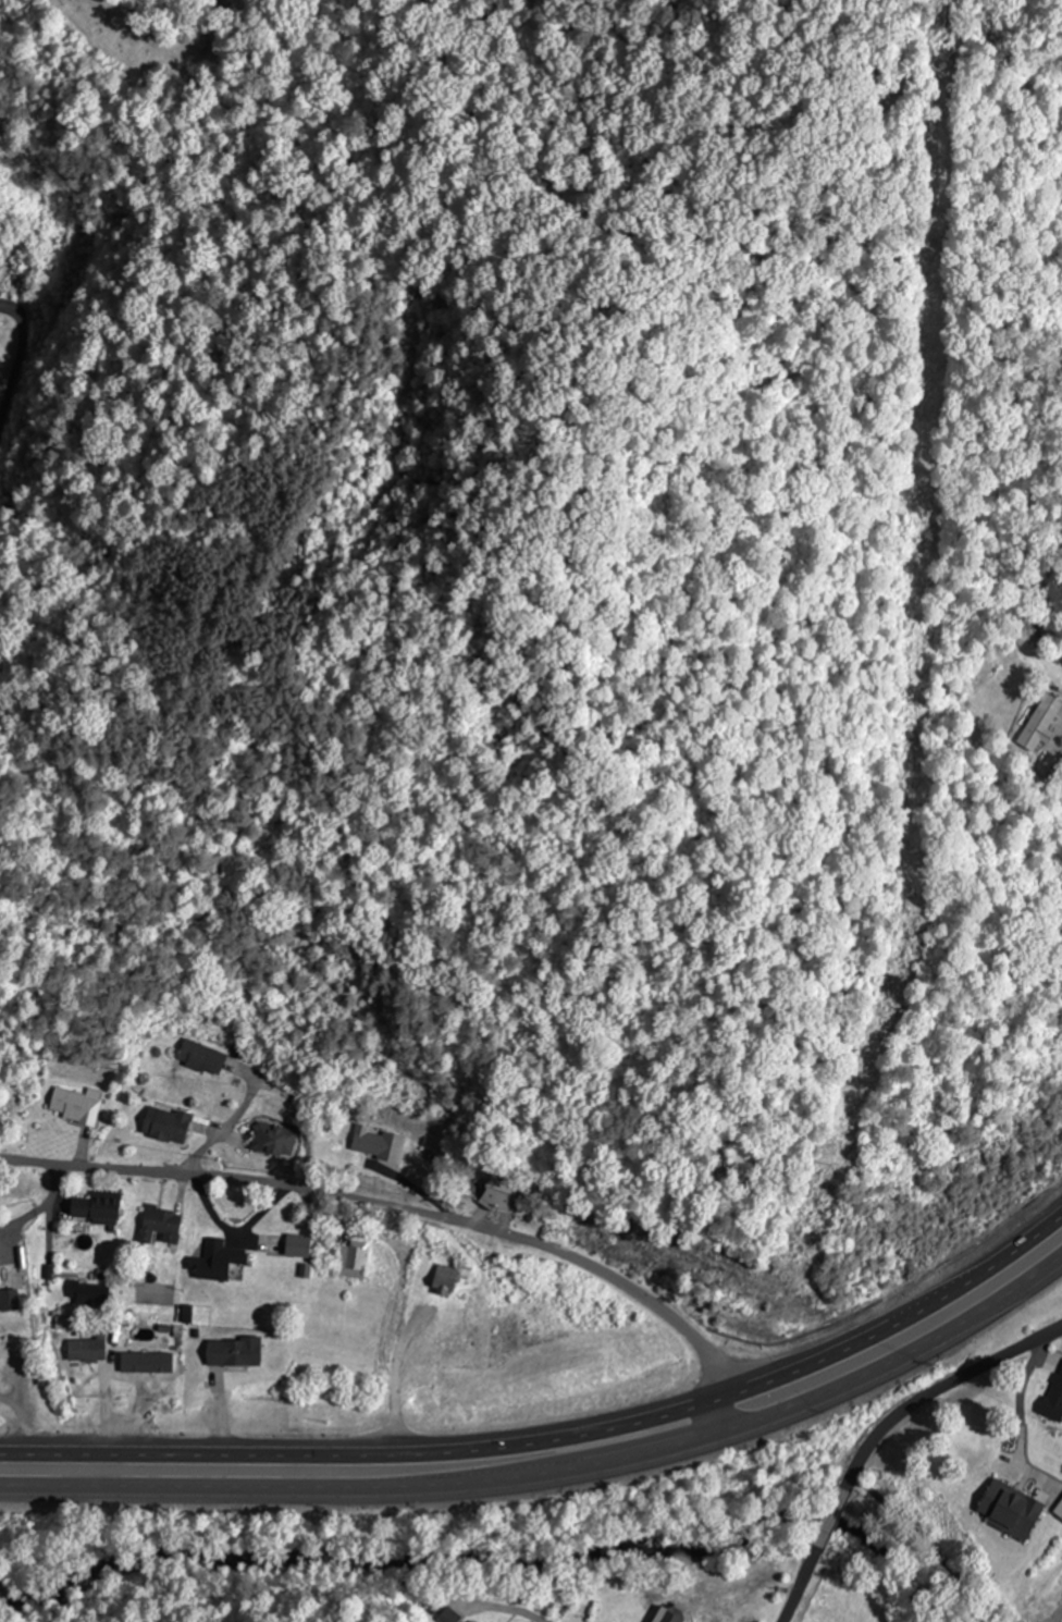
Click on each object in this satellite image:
building: (1038, 722)
building: (197, 1056)
building: (74, 1104)
building: (162, 1123)
building: (271, 1138)
building: (374, 1142)
building: (495, 1194)
building: (91, 1208)
road: (413, 1209)
building: (157, 1227)
building: (211, 1261)
building: (349, 1261)
building: (442, 1279)
building: (86, 1293)
building: (7, 1300)
building: (84, 1350)
building: (230, 1351)
building: (144, 1364)
building: (1052, 1399)
road: (874, 1429)
road: (557, 1431)
building: (962, 1460)
road: (555, 1478)
building: (1057, 1509)
building: (1061, 1584)
building: (591, 1612)
building: (448, 1615)
building: (665, 1615)
building: (472, 1620)

